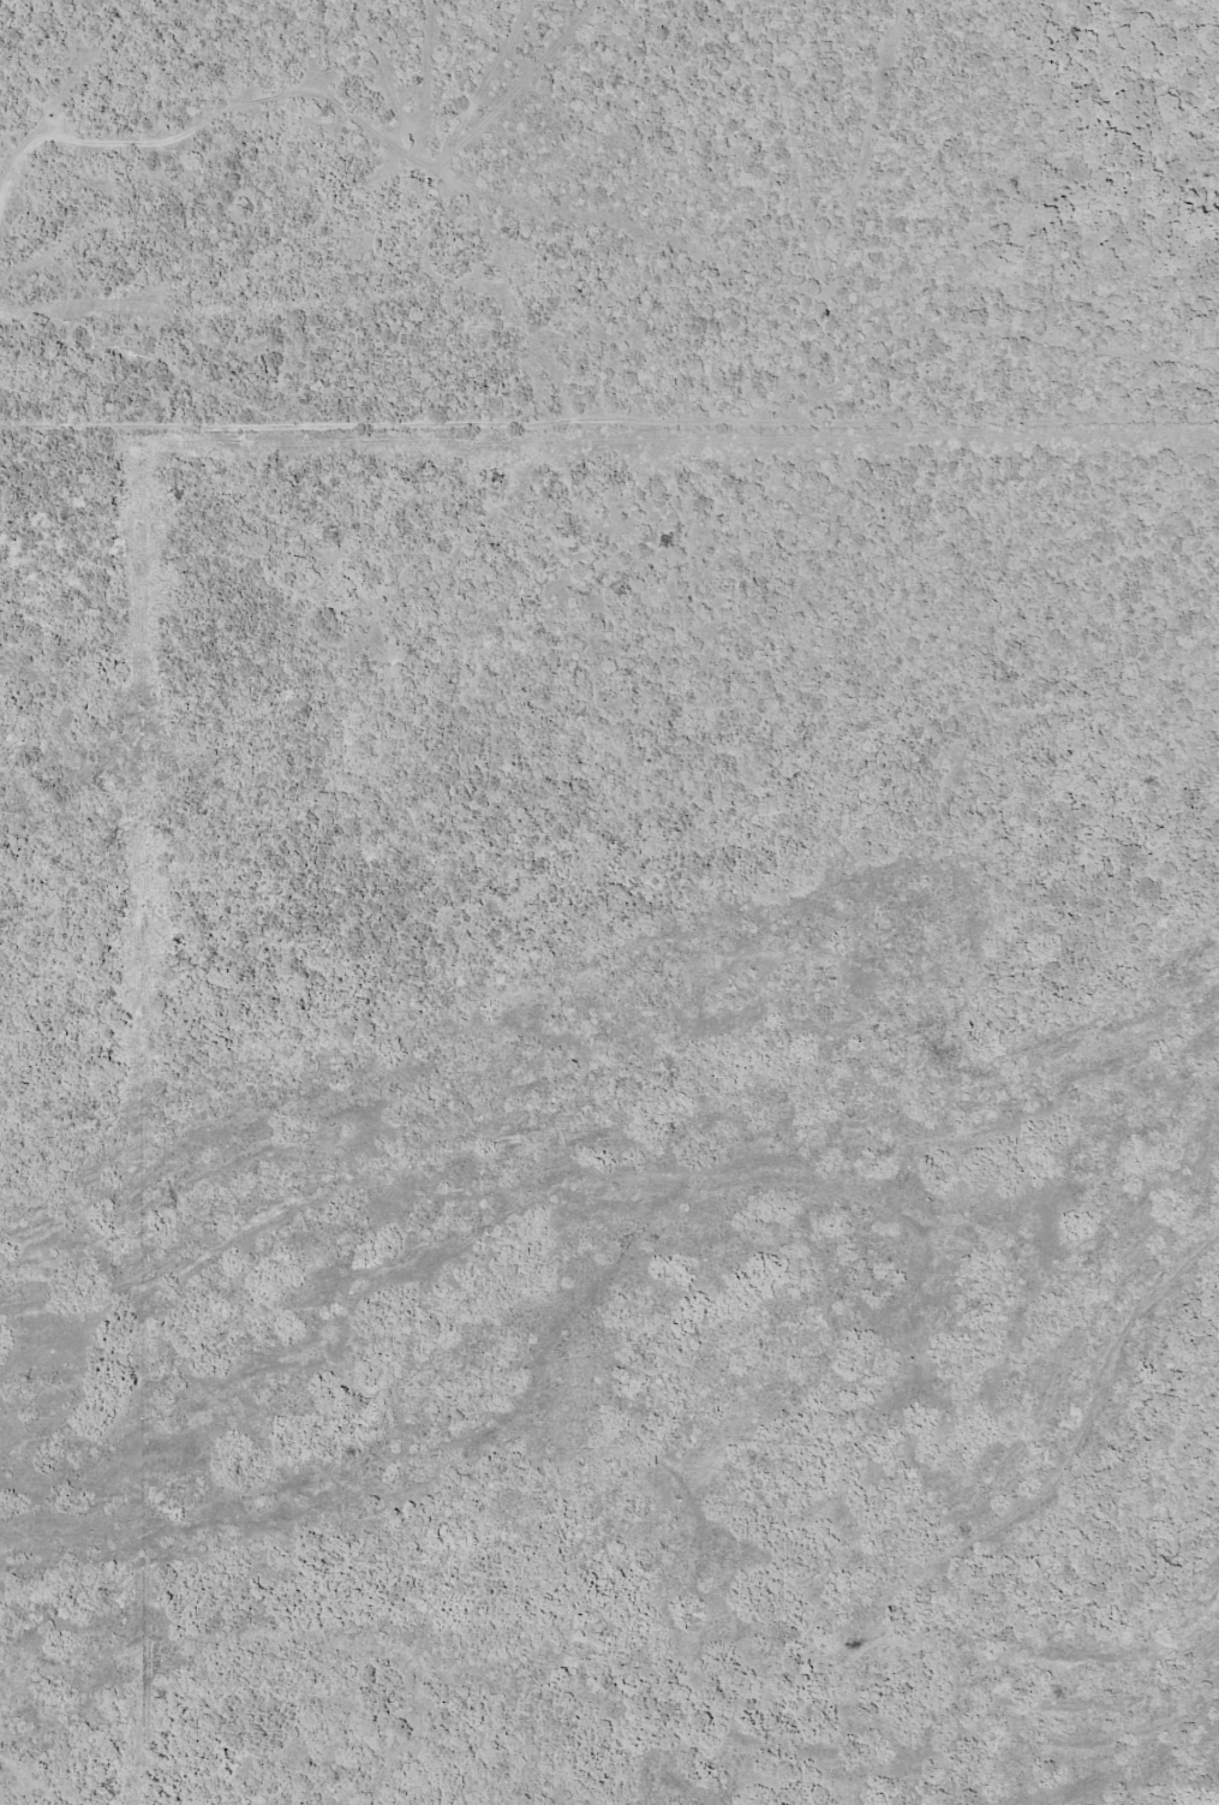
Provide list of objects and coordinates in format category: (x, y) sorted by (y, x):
road: (617, 1322)
road: (1011, 1543)

